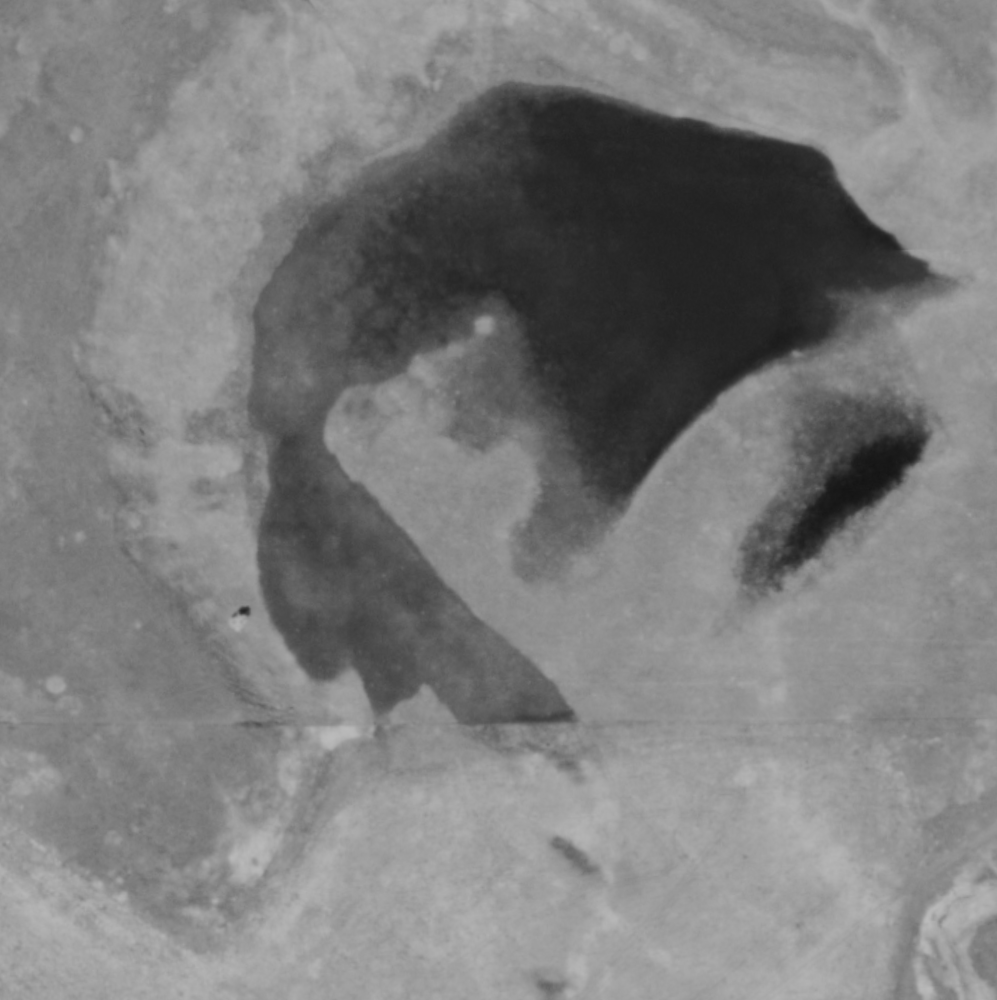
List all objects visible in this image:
road: (878, 912)

